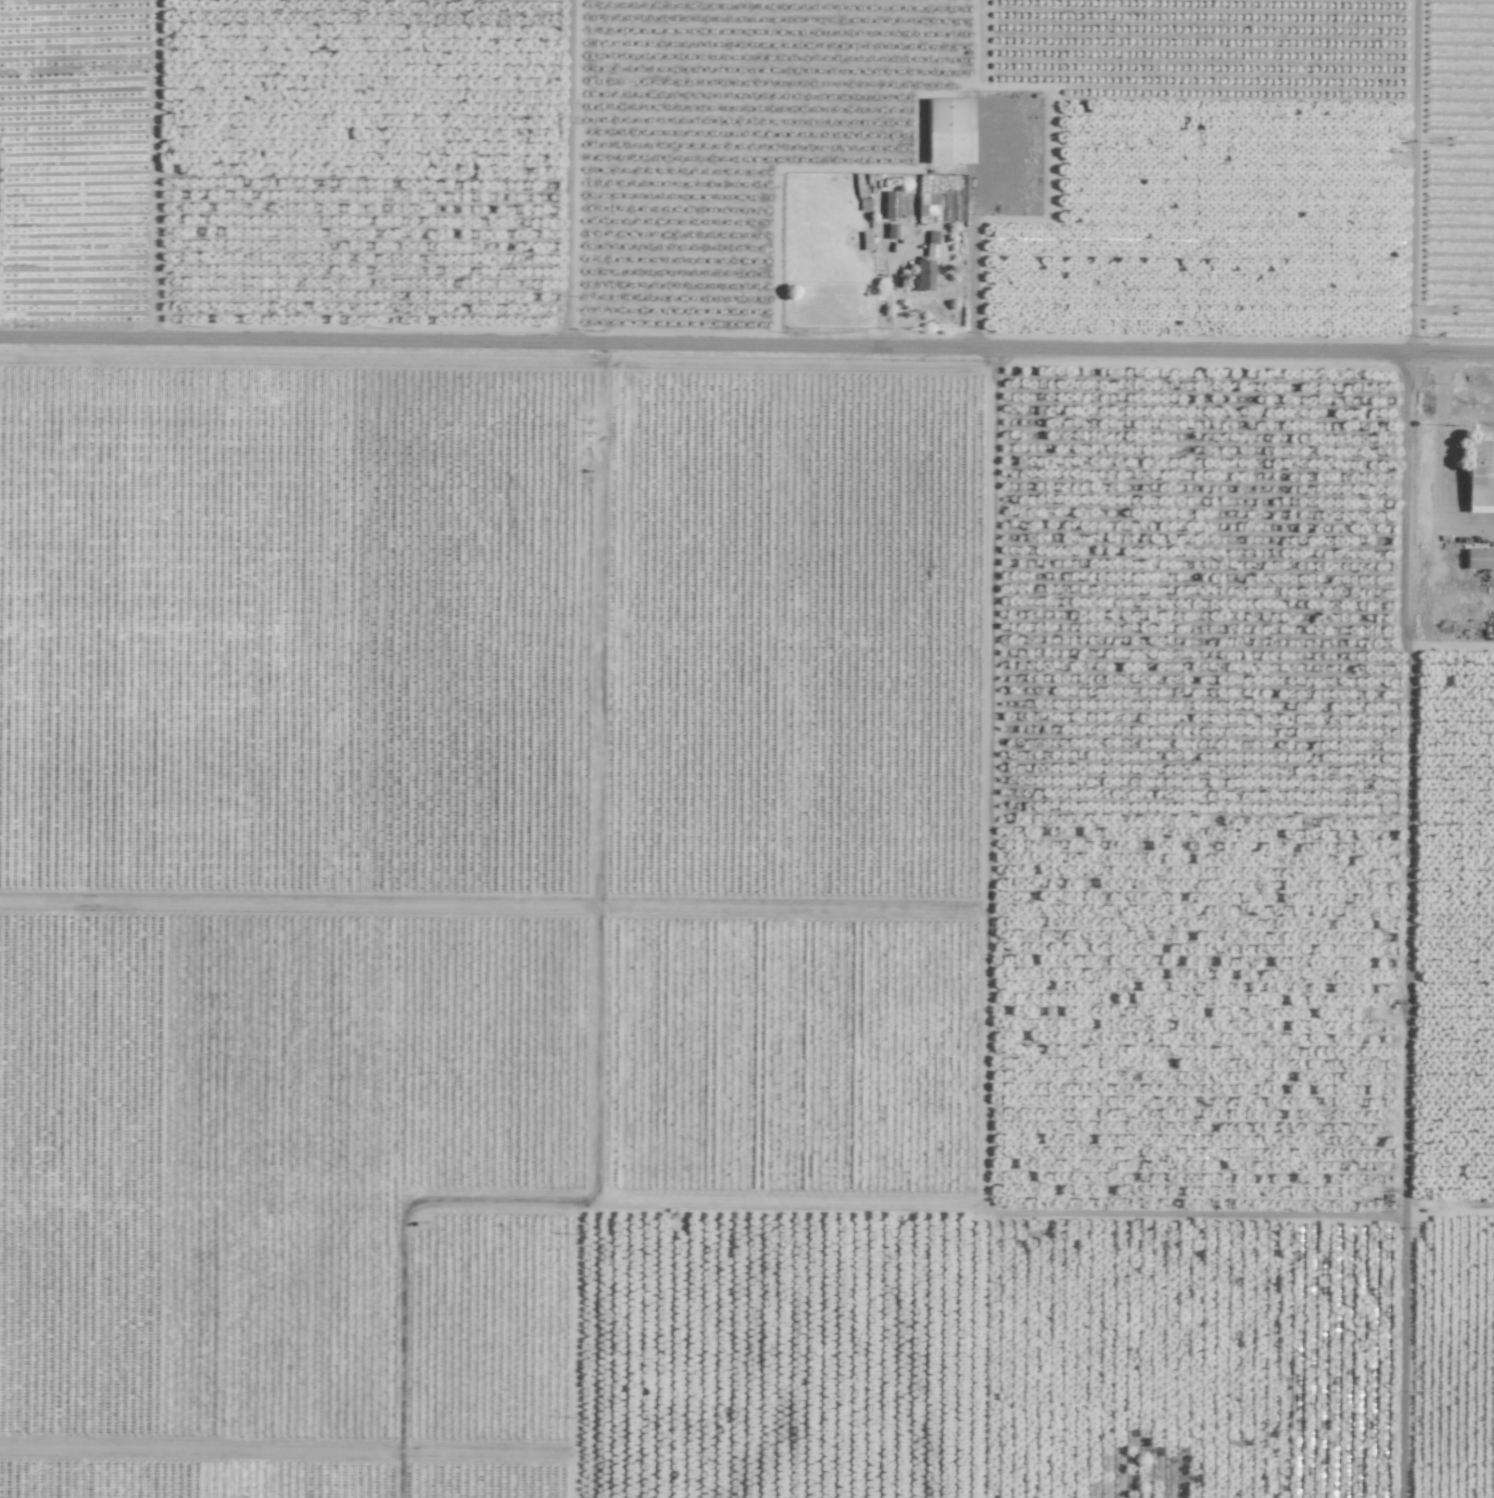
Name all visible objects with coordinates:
building: (947, 131)
road: (970, 254)
building: (922, 275)
road: (893, 298)
road: (747, 354)
road: (1441, 465)
building: (1477, 475)
building: (1478, 559)
road: (1407, 927)

